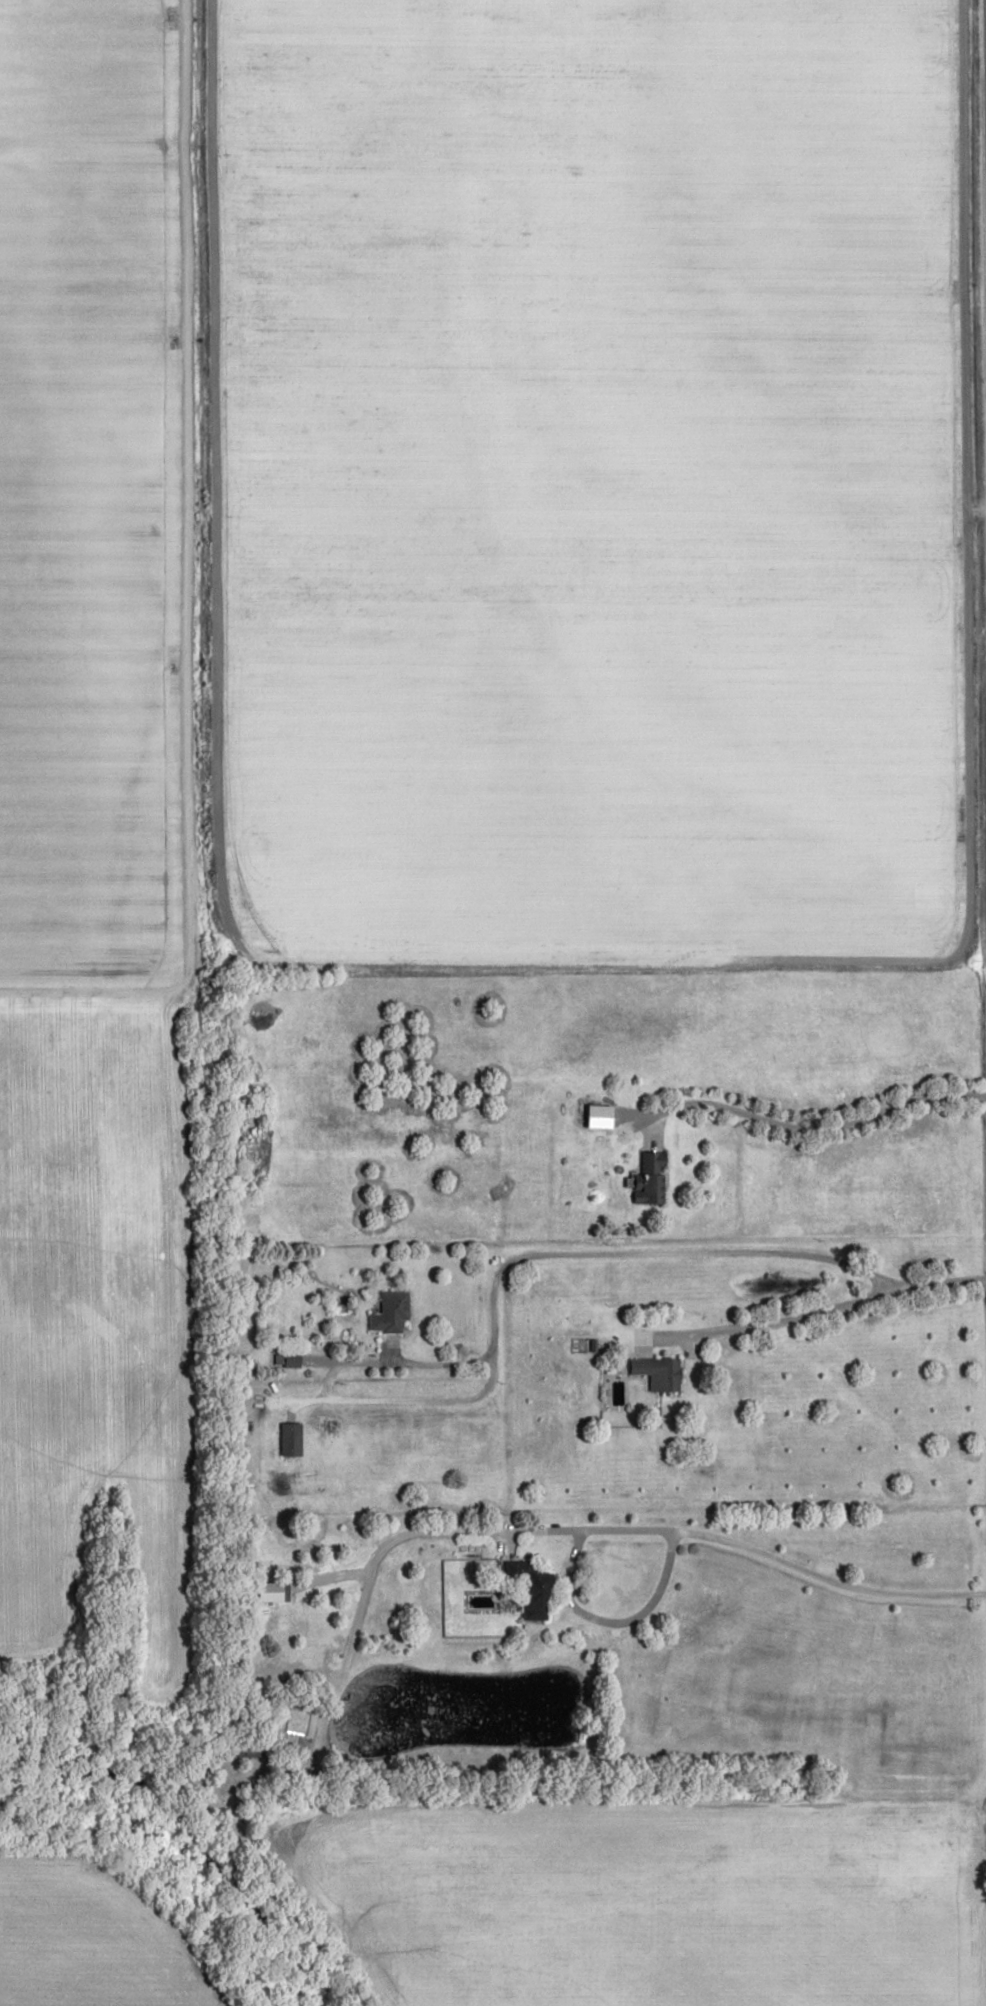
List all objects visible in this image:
building: (598, 1116)
road: (810, 1125)
building: (649, 1180)
road: (548, 1255)
building: (390, 1312)
road: (808, 1315)
building: (286, 1360)
building: (659, 1371)
building: (290, 1440)
road: (741, 1546)
building: (531, 1589)
building: (269, 1593)
road: (611, 1623)
building: (250, 1749)

